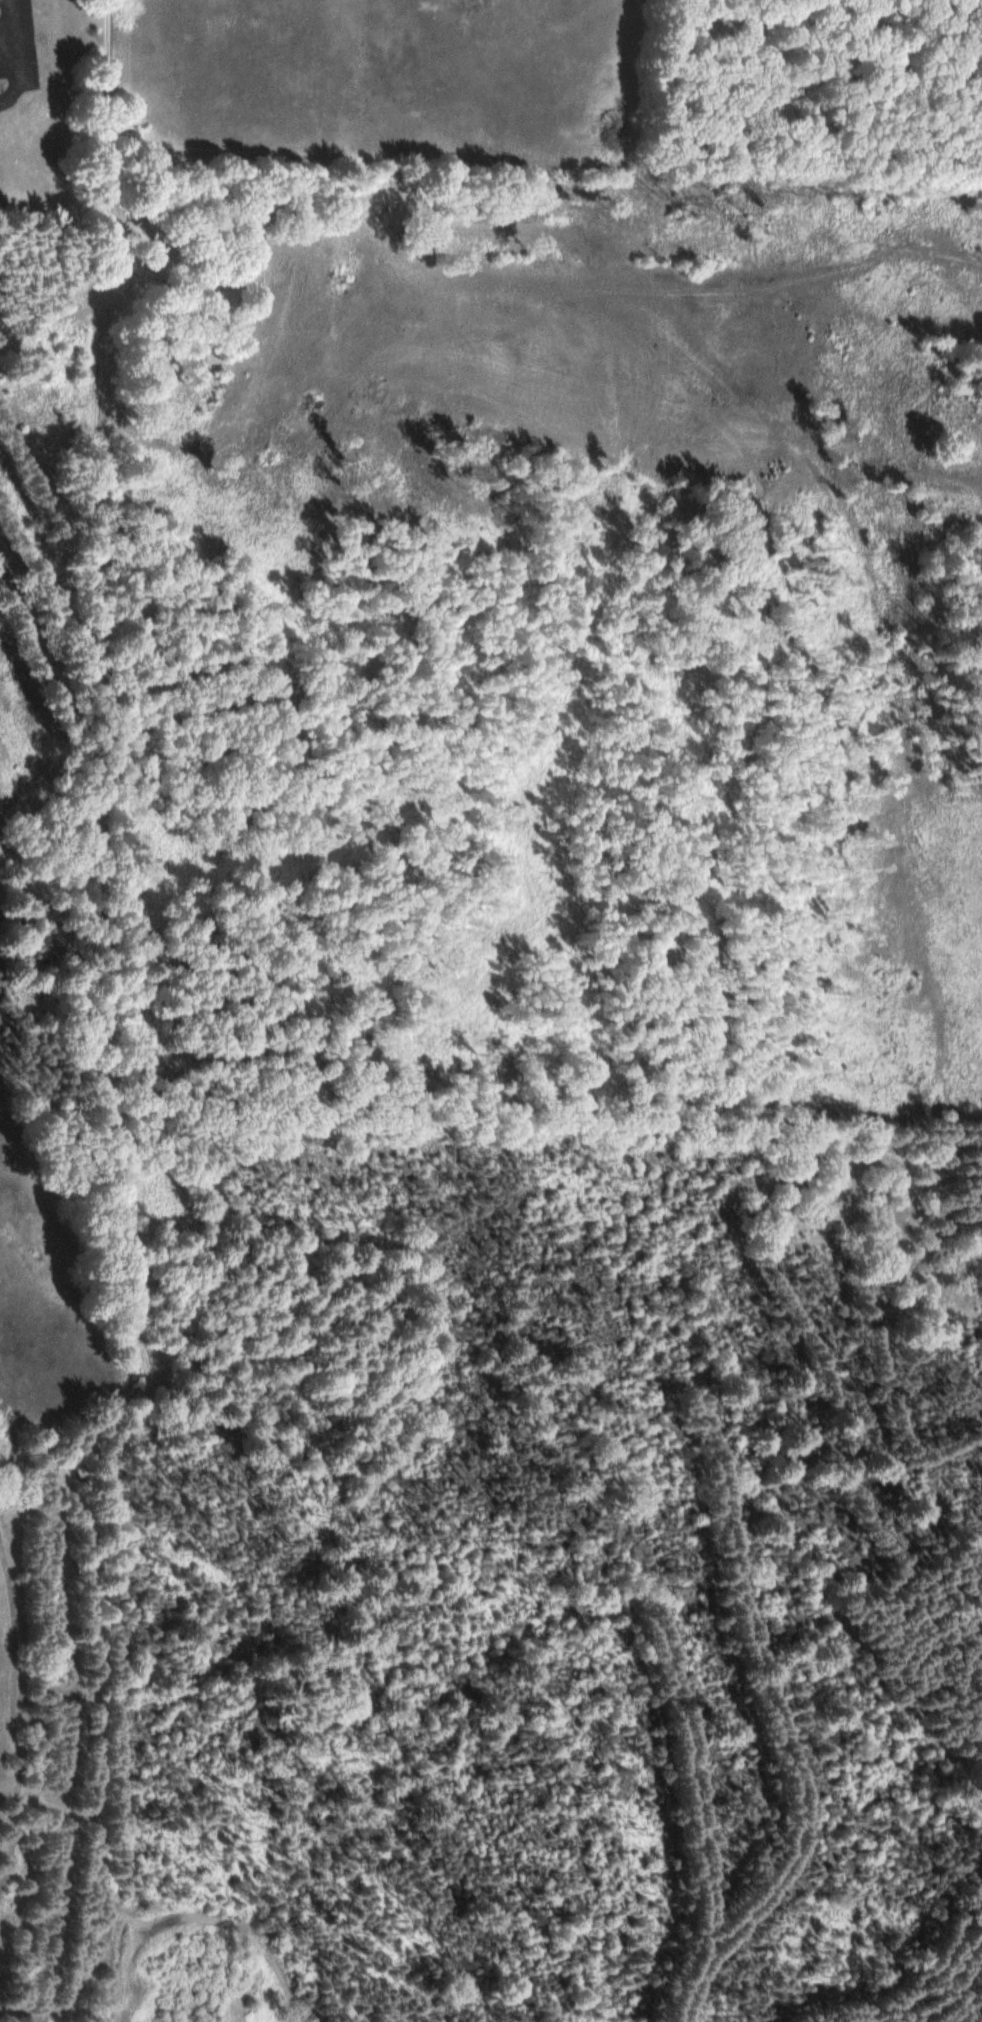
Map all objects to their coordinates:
road: (120, 578)
road: (100, 1507)
road: (720, 1635)
road: (281, 1962)
road: (122, 1982)

